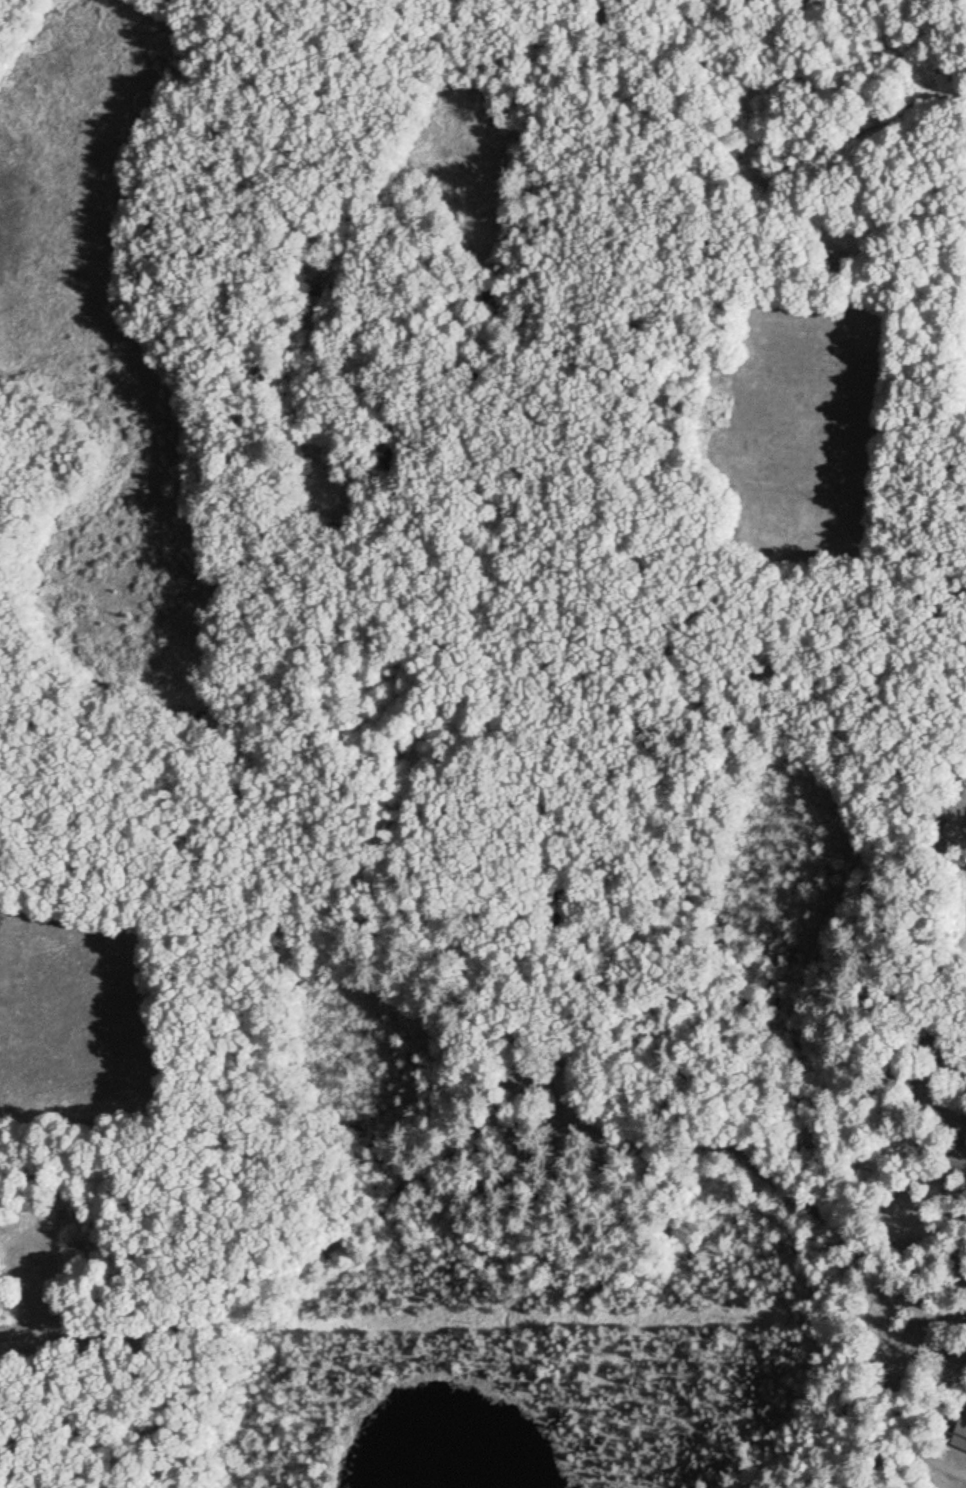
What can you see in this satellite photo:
road: (911, 592)
building: (963, 802)
road: (452, 1165)
road: (926, 1310)
road: (826, 1386)
building: (958, 1435)

